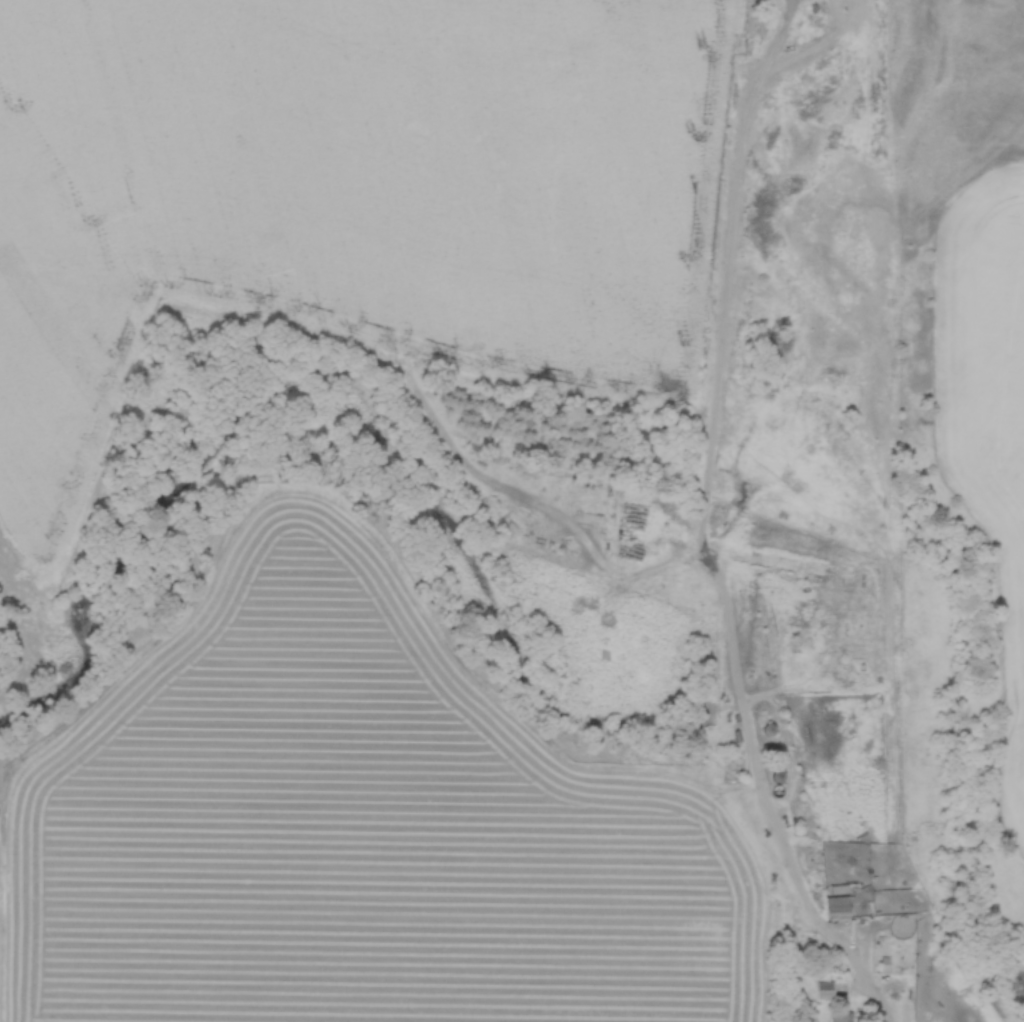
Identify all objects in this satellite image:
road: (704, 527)
building: (769, 729)
building: (838, 907)
building: (823, 980)
building: (841, 1016)

